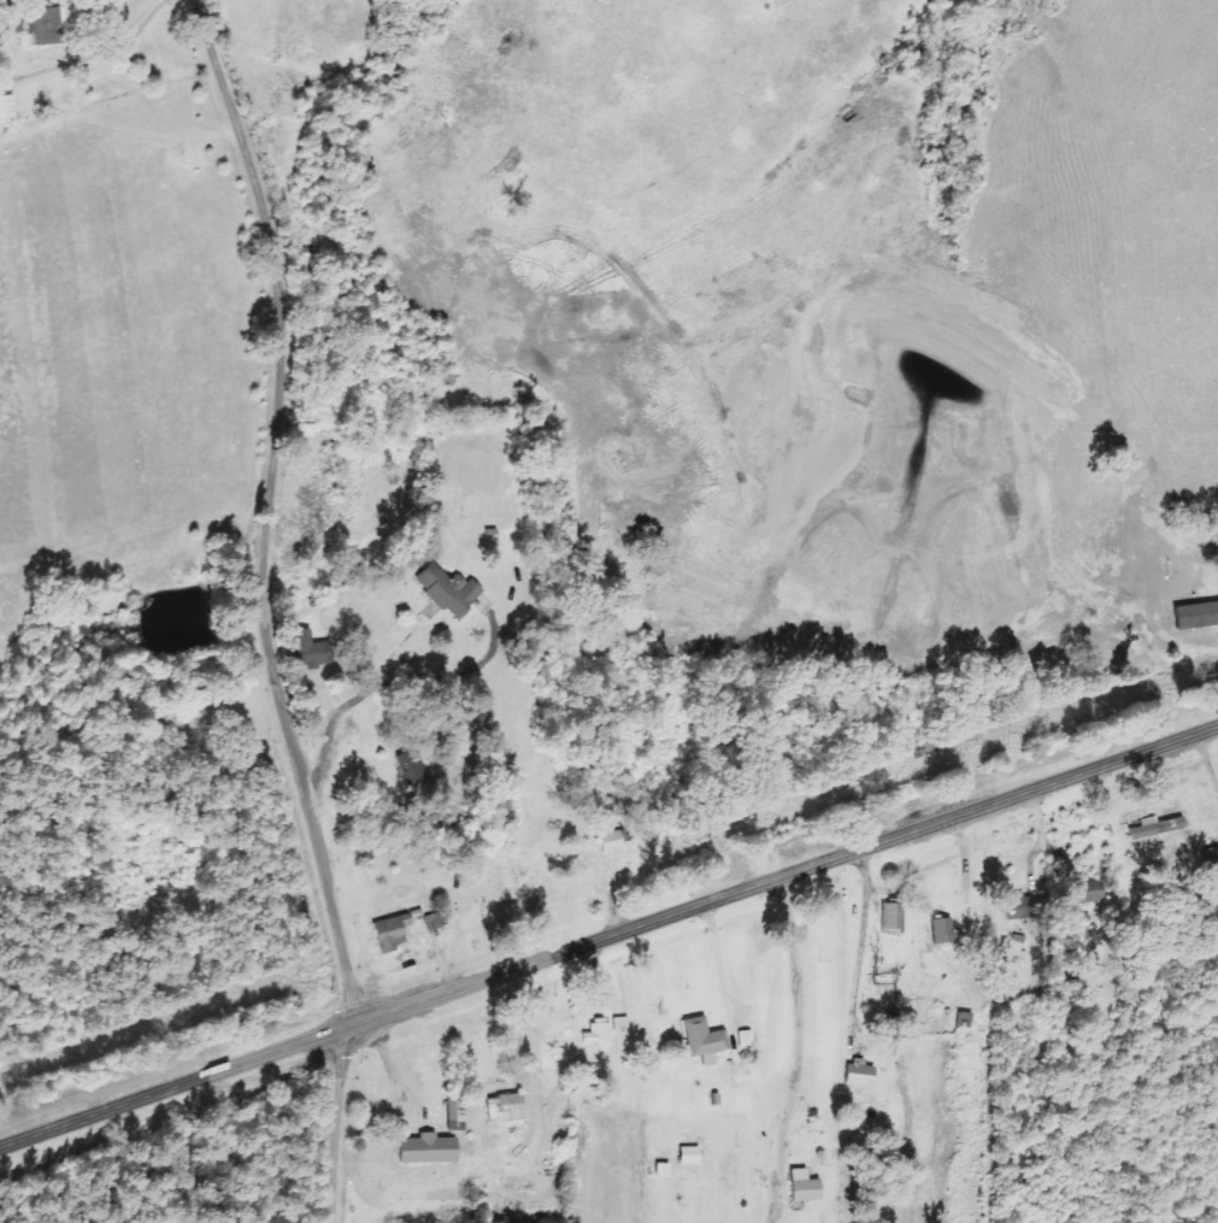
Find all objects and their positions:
building: (42, 28)
road: (133, 280)
road: (280, 505)
building: (446, 590)
building: (306, 651)
road: (139, 692)
building: (1153, 827)
building: (611, 842)
building: (1210, 857)
building: (1083, 892)
building: (1018, 907)
building: (431, 922)
building: (940, 931)
building: (388, 933)
road: (608, 935)
building: (618, 1023)
building: (595, 1035)
building: (743, 1039)
building: (701, 1041)
building: (855, 1074)
building: (453, 1115)
road: (342, 1124)
building: (423, 1149)
building: (687, 1156)
building: (659, 1170)
building: (801, 1187)

